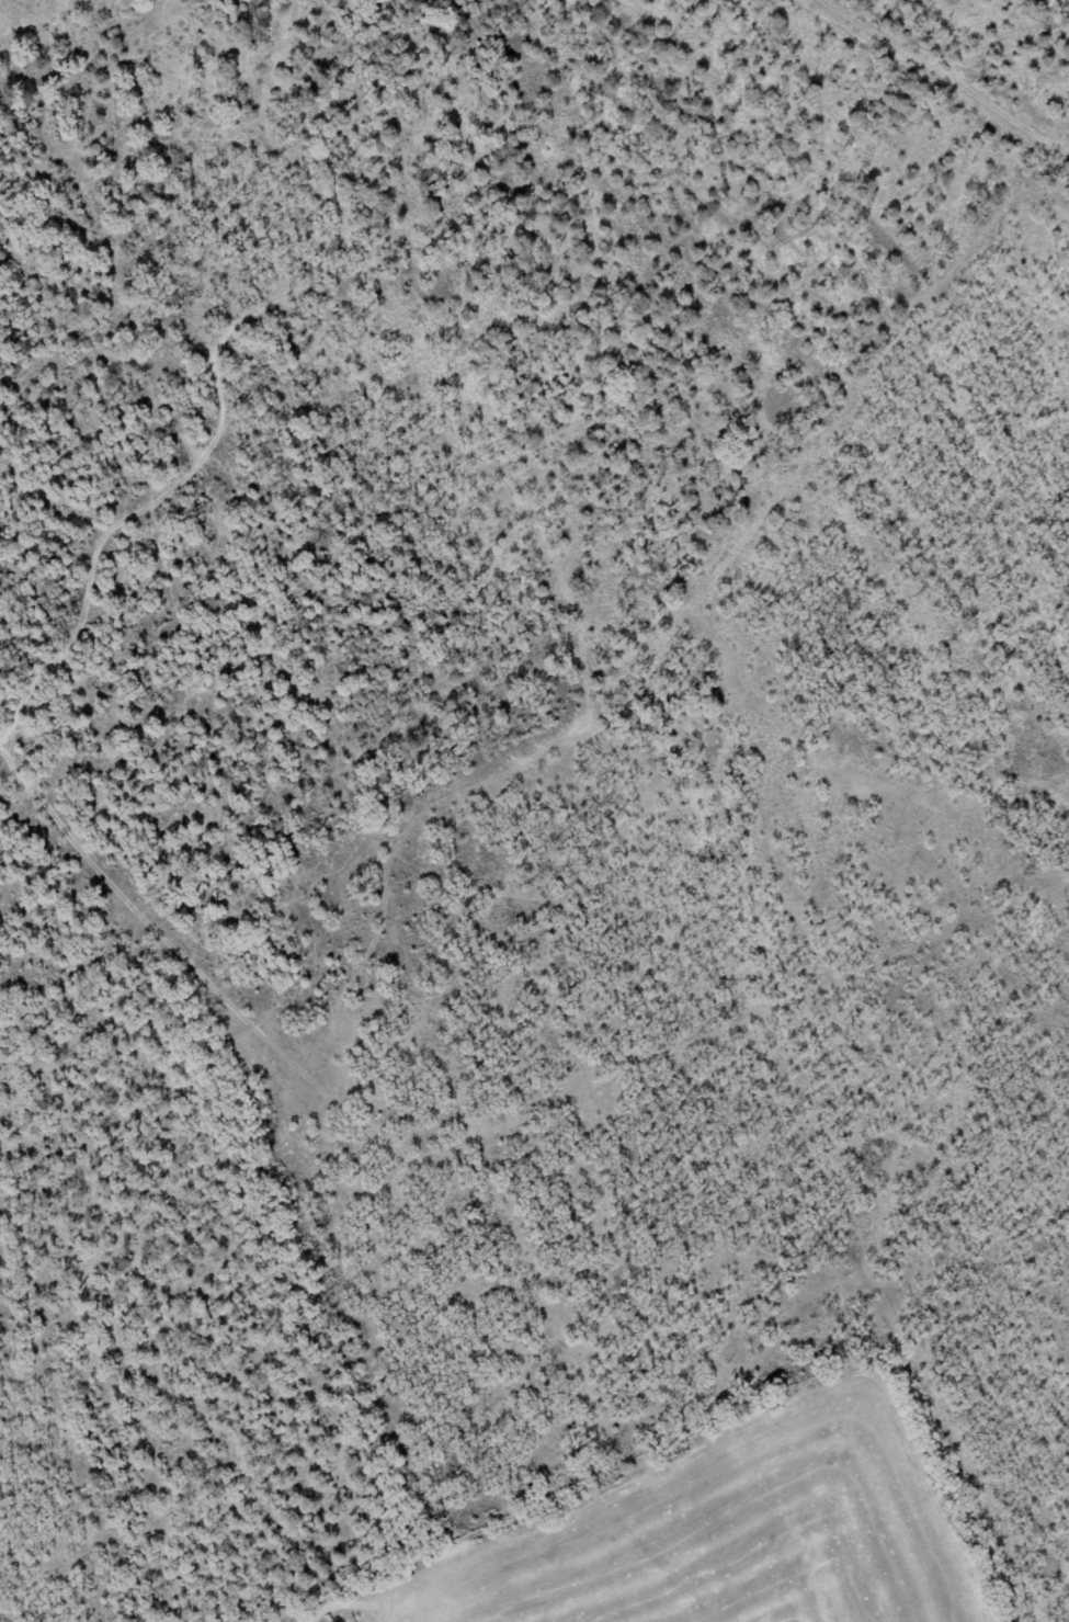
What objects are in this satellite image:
railway: (957, 69)

